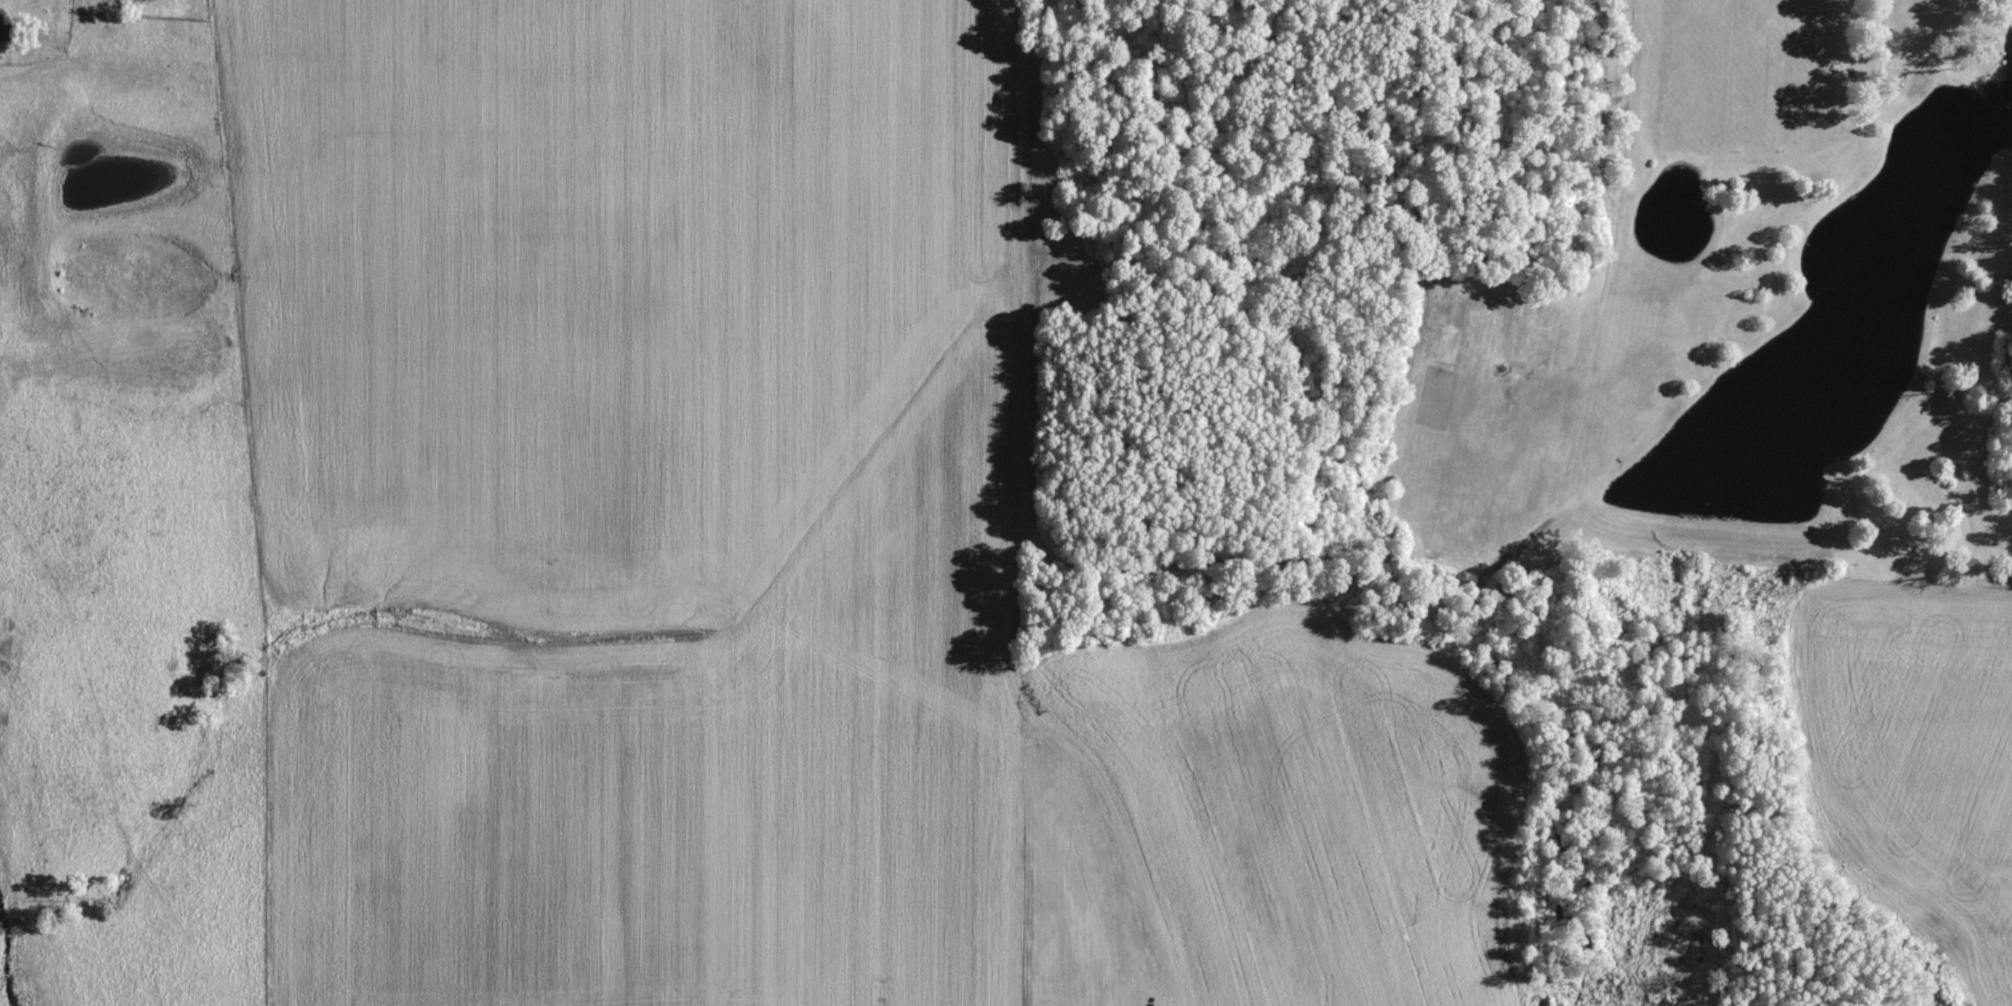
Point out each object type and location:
building: (2, 24)

